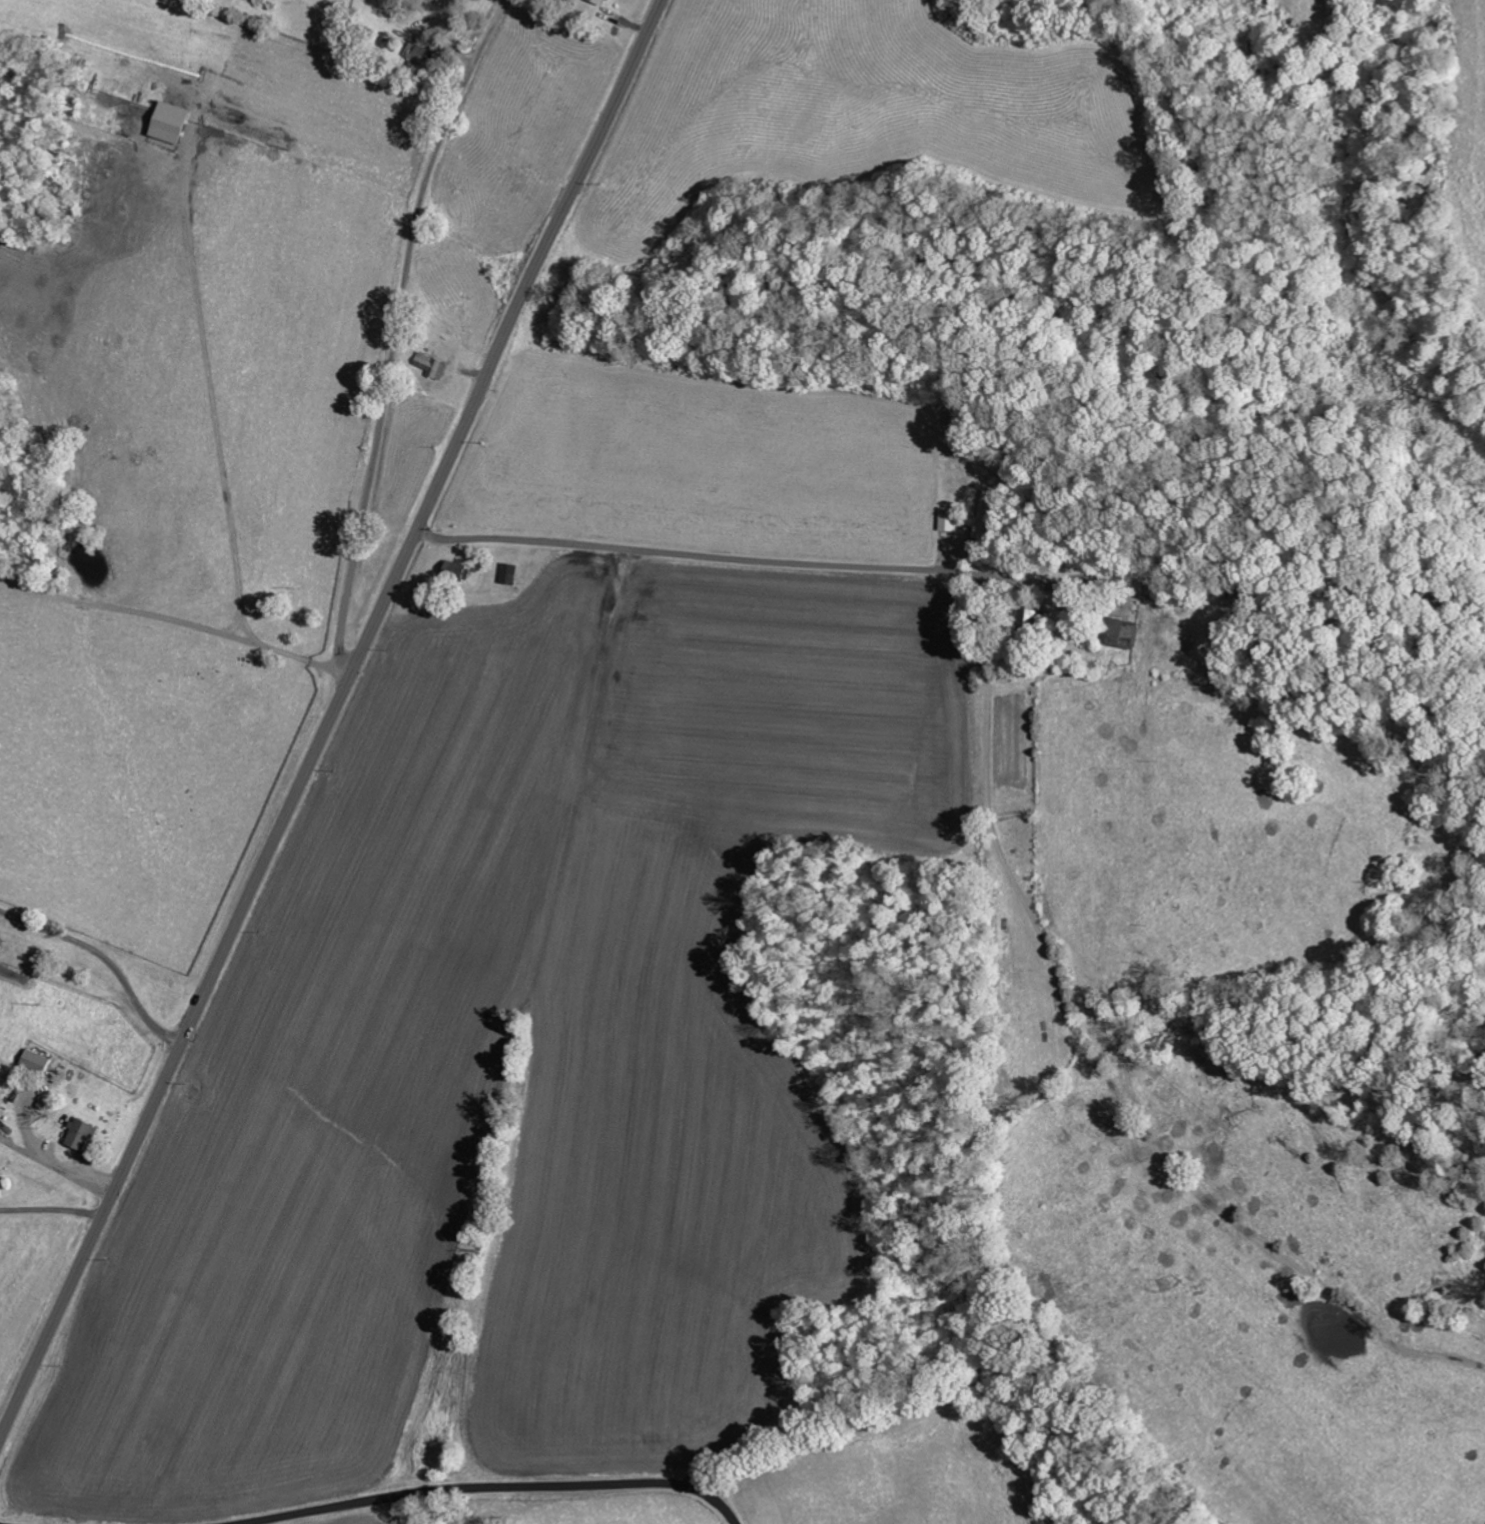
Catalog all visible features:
building: (422, 53)
building: (172, 121)
road: (562, 221)
road: (400, 334)
building: (434, 364)
building: (950, 518)
road: (699, 556)
building: (510, 573)
building: (1125, 632)
road: (230, 941)
road: (105, 960)
building: (37, 1062)
building: (83, 1133)
road: (494, 1489)

